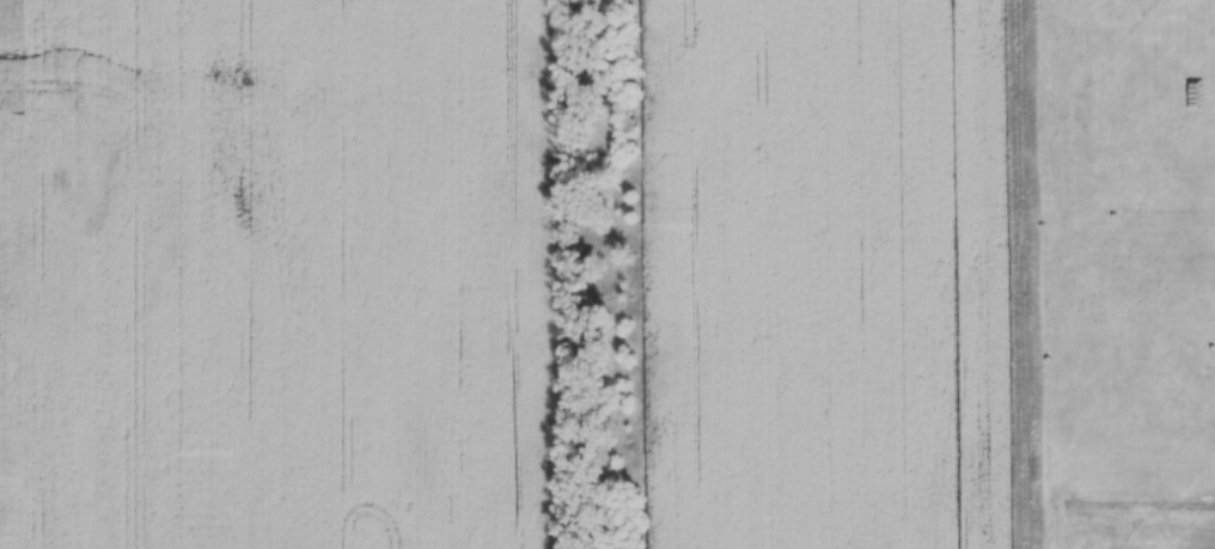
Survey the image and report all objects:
road: (1022, 274)

